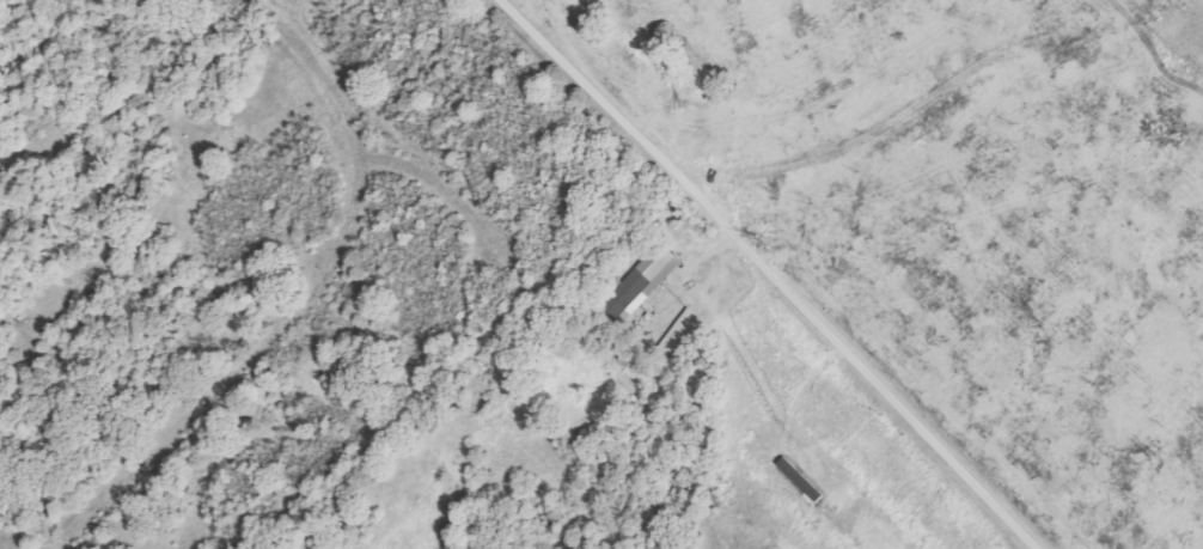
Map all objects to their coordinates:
road: (770, 273)
building: (641, 277)

